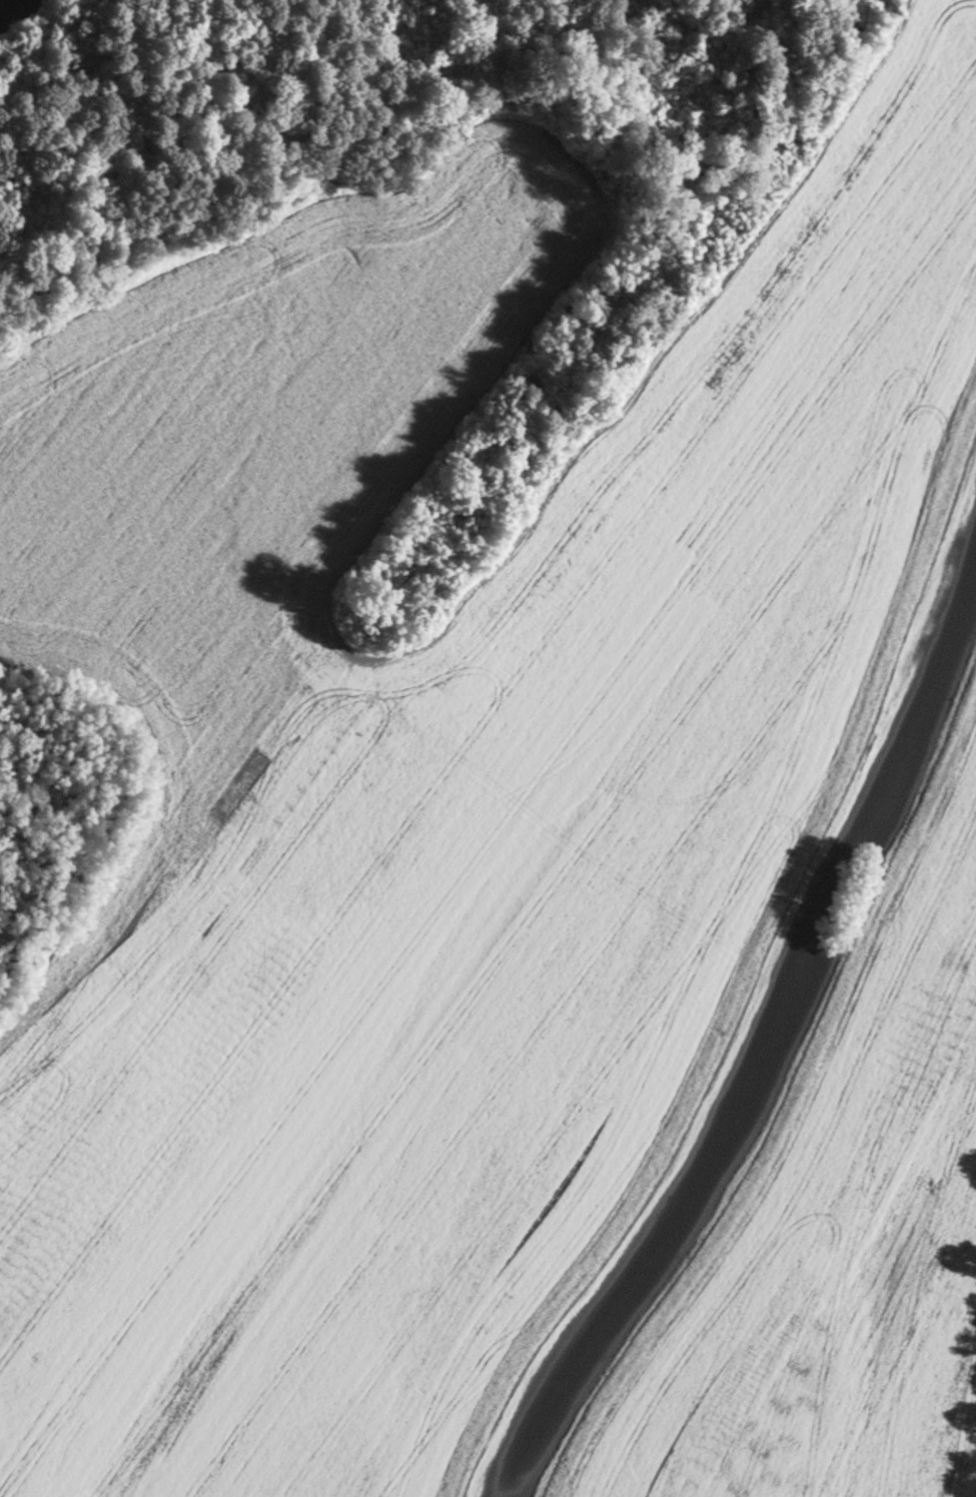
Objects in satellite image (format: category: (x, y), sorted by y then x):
road: (663, 343)

